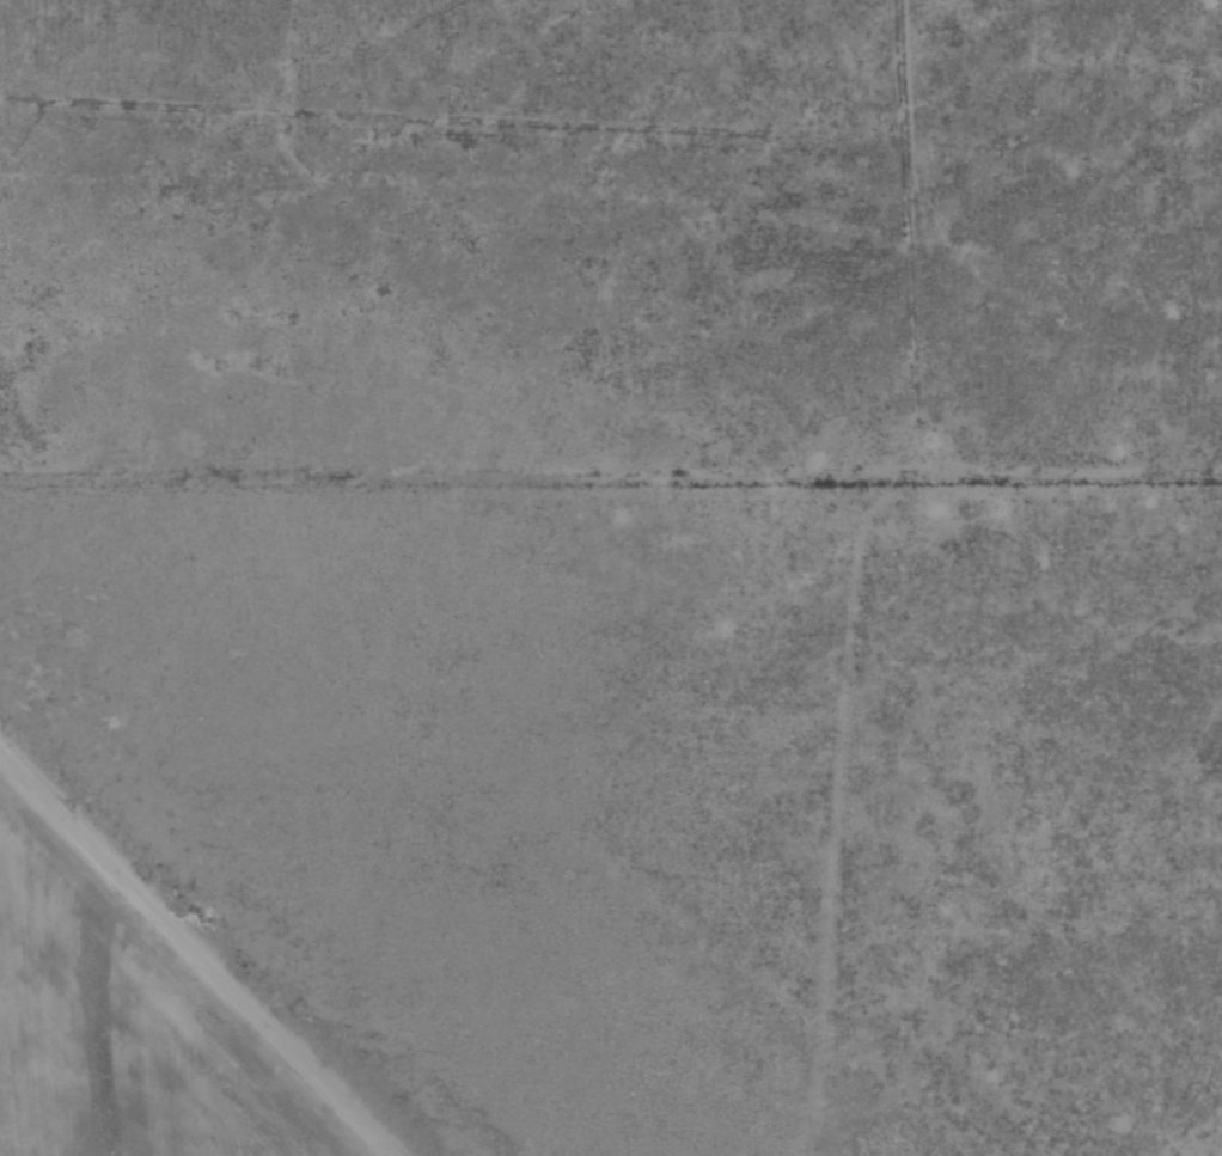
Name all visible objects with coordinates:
landfill: (72, 1009)

